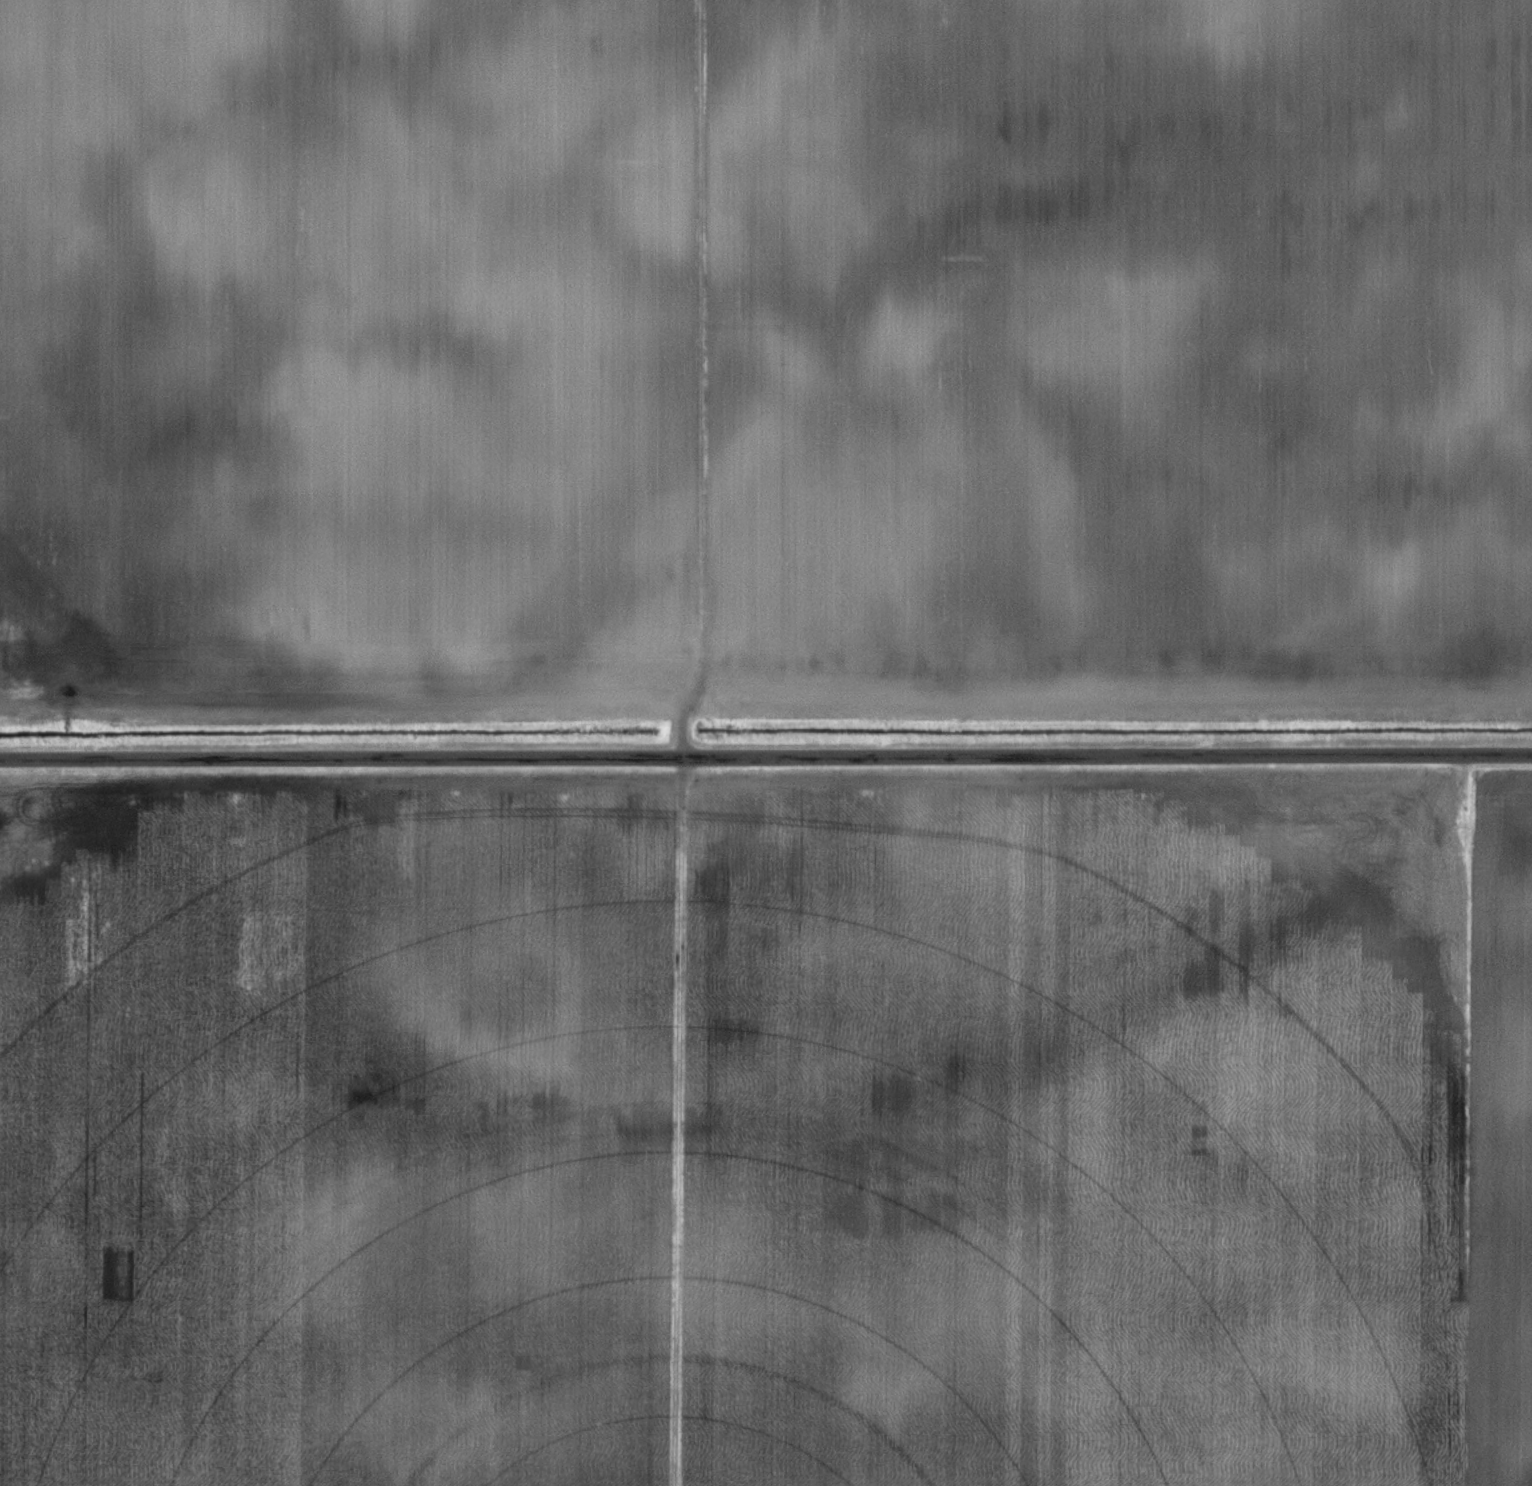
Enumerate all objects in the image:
road: (766, 753)

